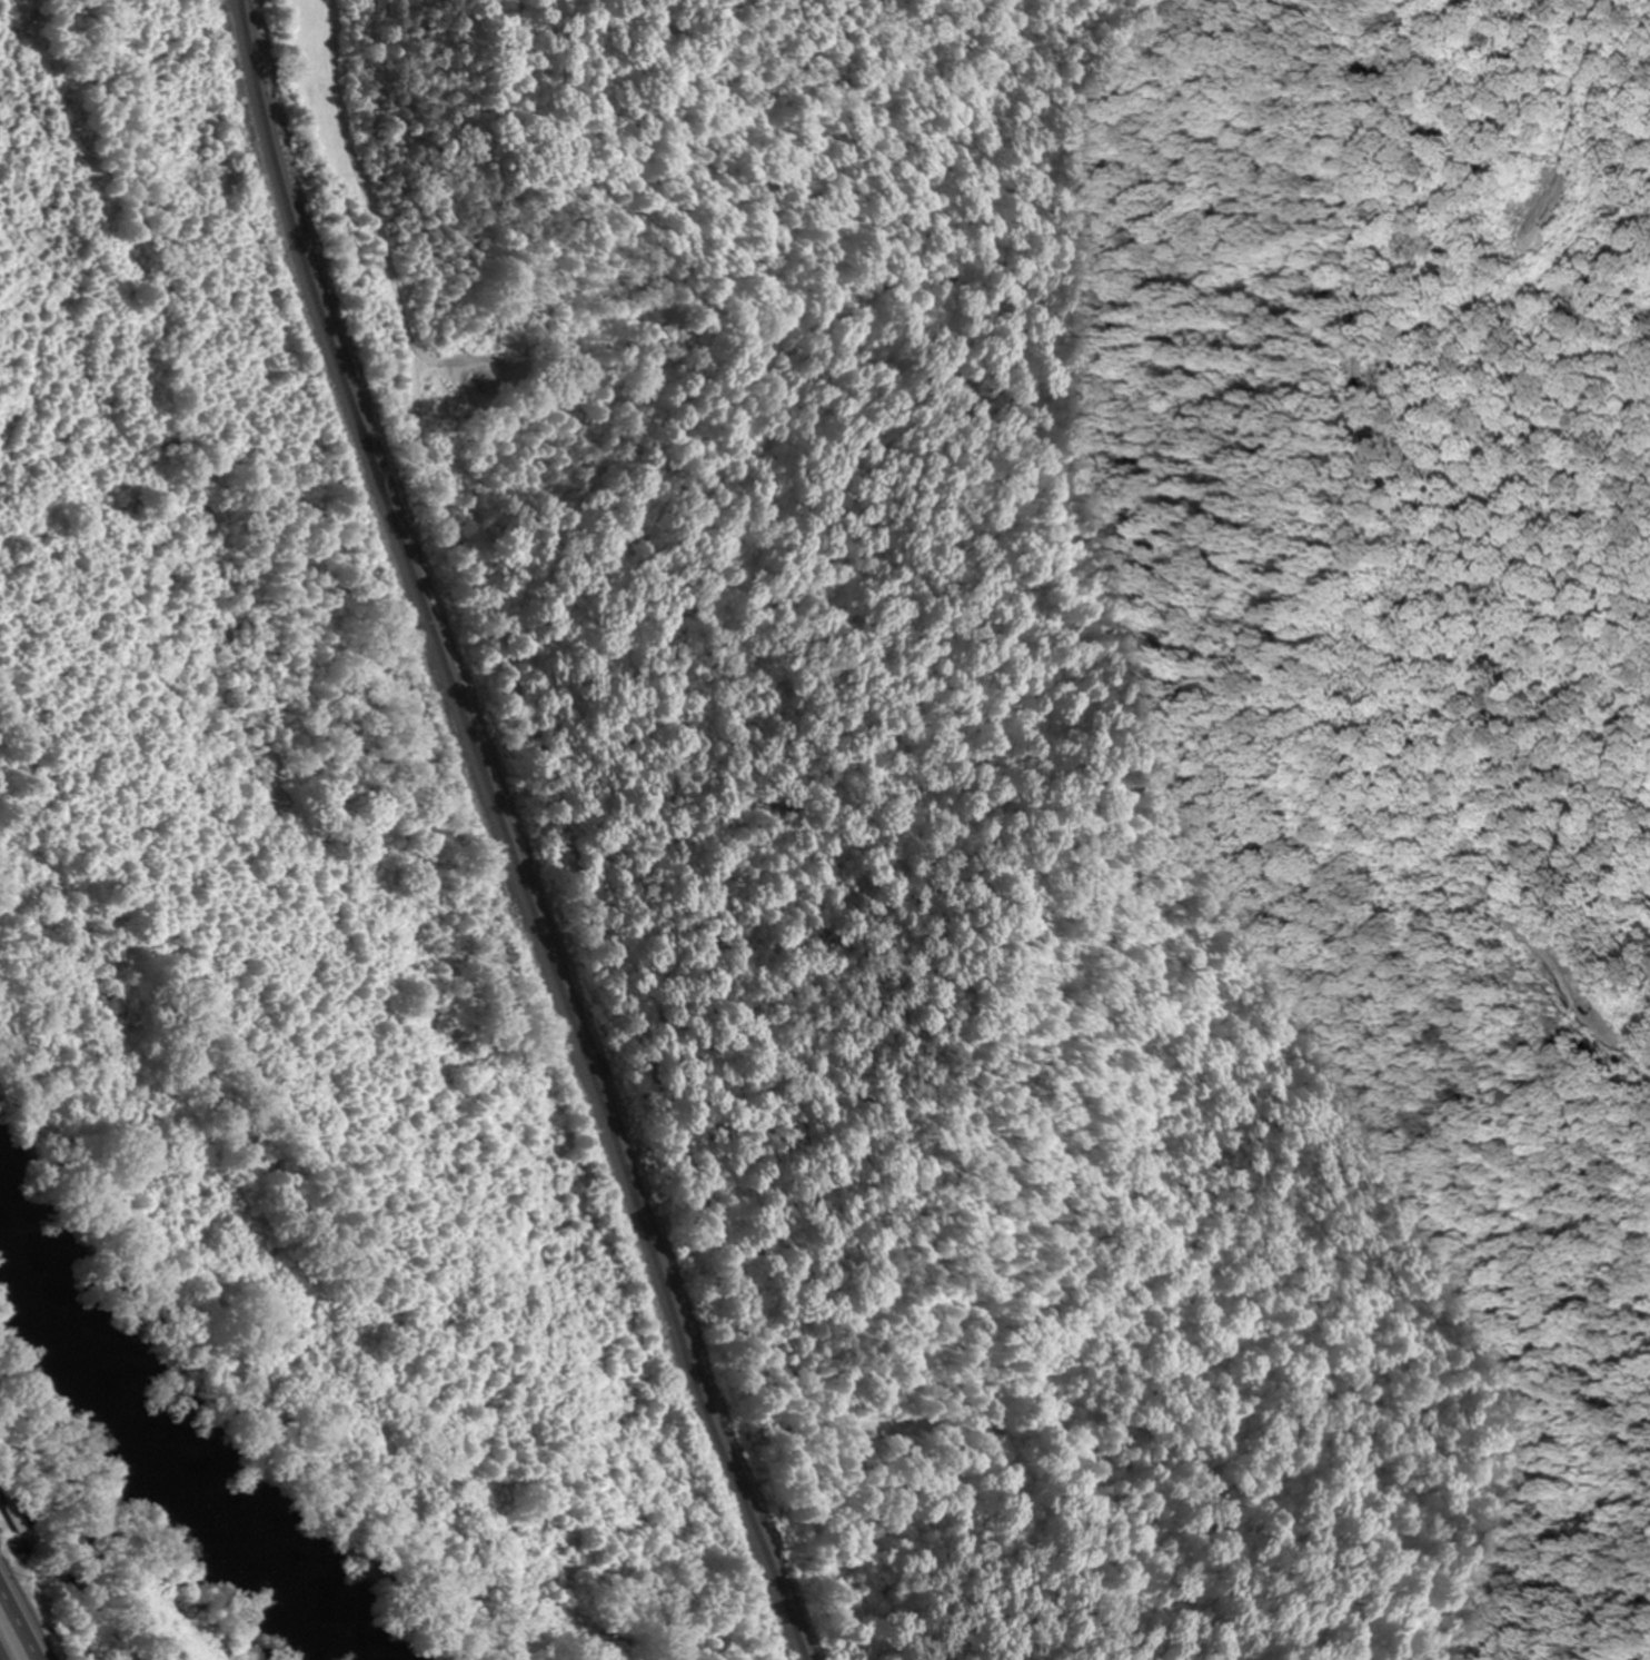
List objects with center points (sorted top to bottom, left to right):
railway: (510, 833)
river: (167, 1450)
building: (19, 1512)
road: (19, 1622)

